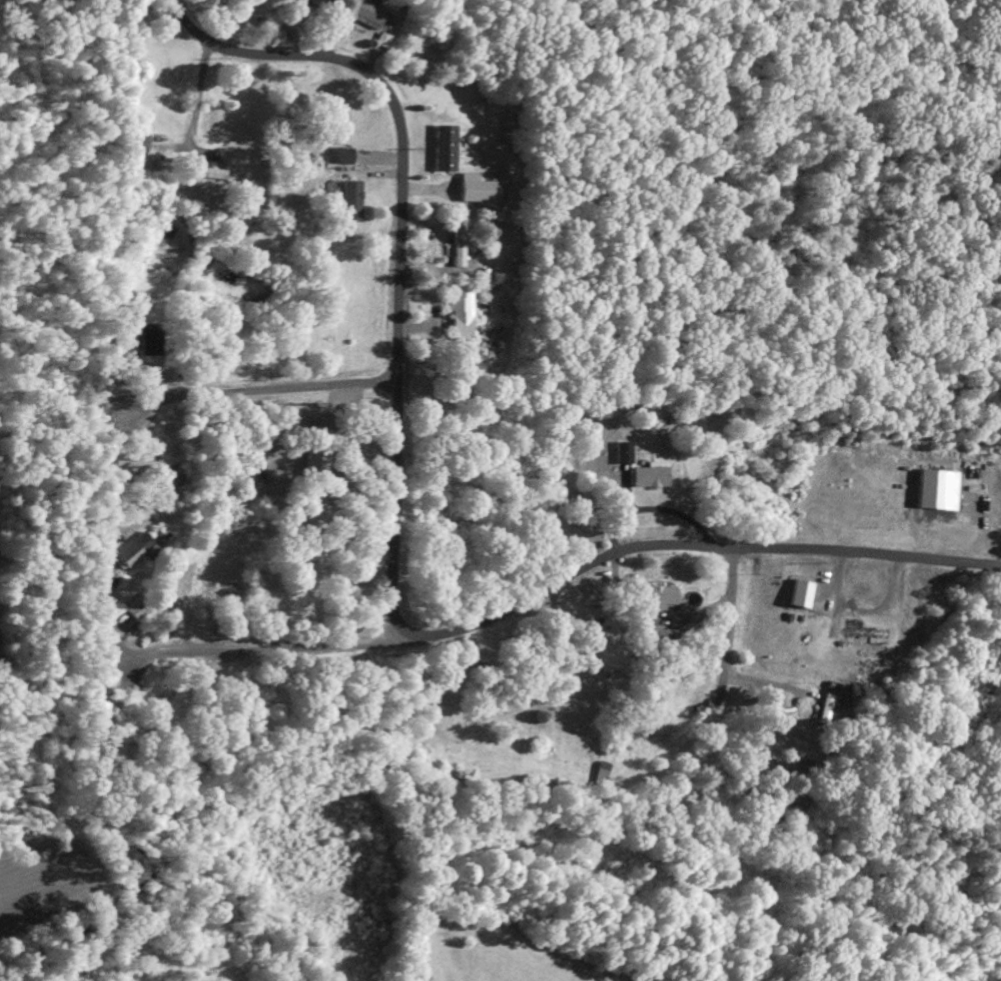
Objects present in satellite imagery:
building: (307, 4)
building: (367, 15)
building: (139, 142)
building: (443, 148)
building: (341, 156)
building: (216, 175)
building: (477, 189)
building: (350, 199)
building: (457, 242)
building: (459, 315)
road: (629, 327)
building: (150, 342)
building: (125, 343)
road: (260, 389)
building: (622, 453)
building: (126, 461)
building: (316, 462)
building: (648, 477)
building: (159, 534)
building: (102, 541)
road: (394, 545)
building: (132, 550)
building: (800, 594)
building: (657, 597)
road: (731, 624)
building: (863, 631)
building: (660, 637)
road: (266, 649)
building: (101, 688)
building: (825, 709)
building: (601, 774)

